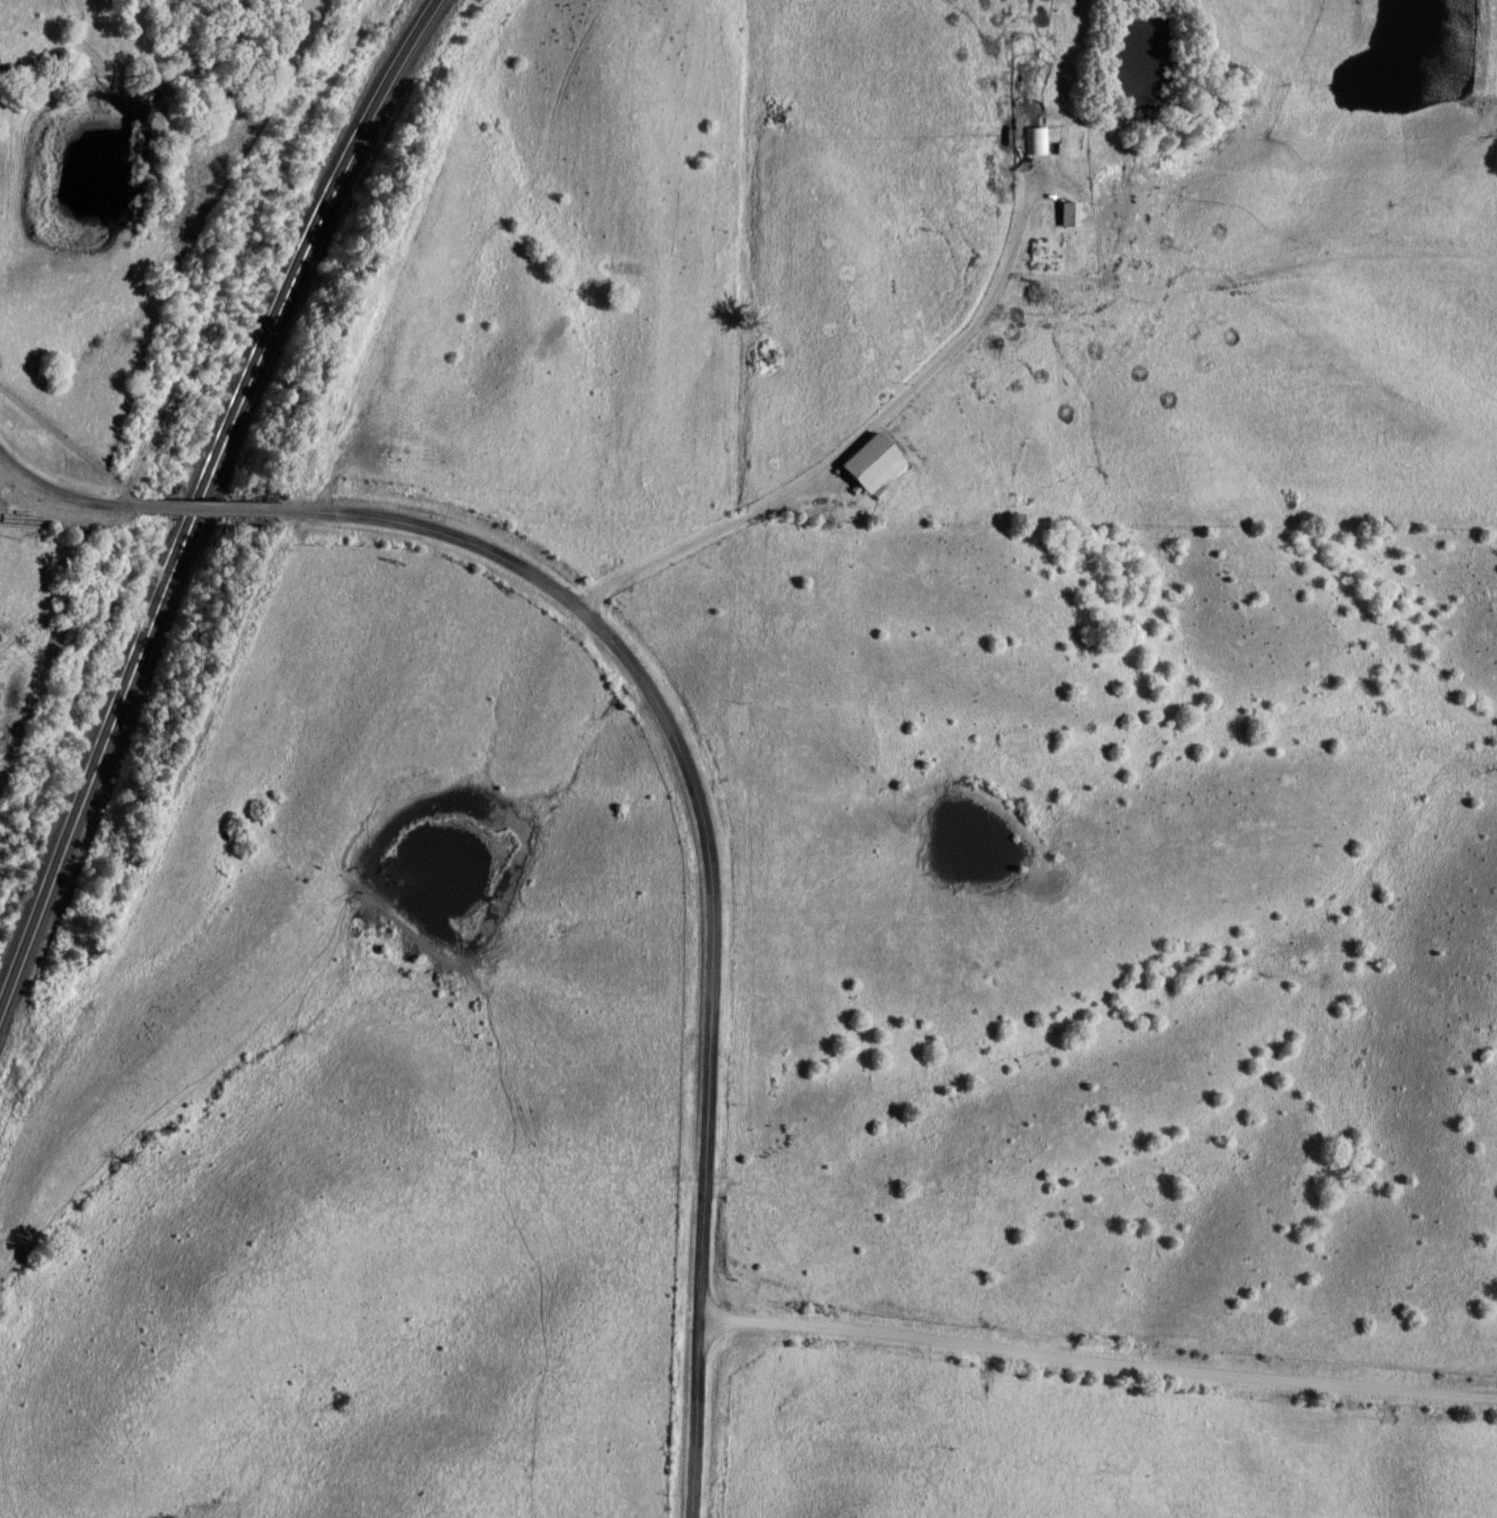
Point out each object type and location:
building: (1034, 141)
building: (1068, 216)
railway: (204, 494)
road: (61, 496)
railway: (210, 507)
road: (205, 509)
road: (709, 880)
road: (1097, 1361)

